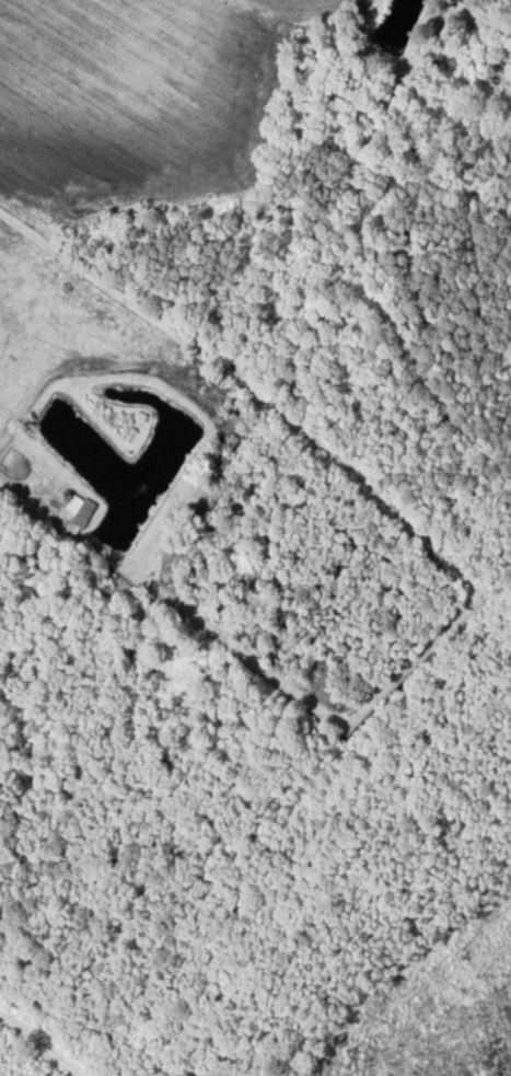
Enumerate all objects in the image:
building: (84, 514)

